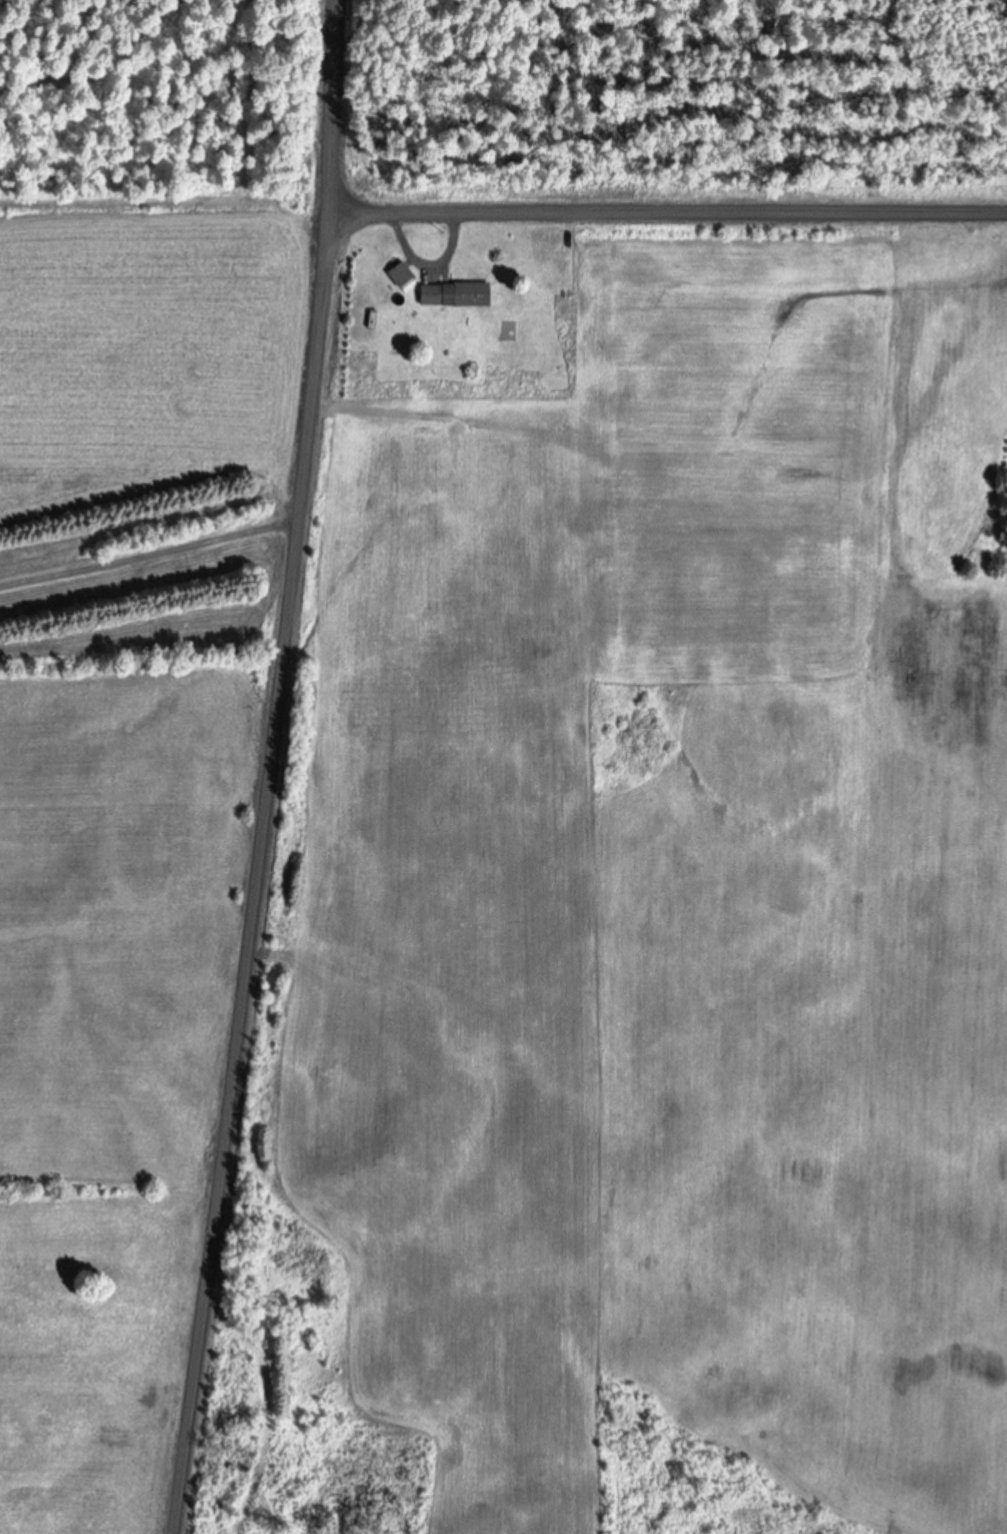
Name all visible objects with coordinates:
road: (669, 215)
road: (429, 267)
building: (399, 277)
building: (454, 296)
road: (151, 556)
road: (273, 768)

